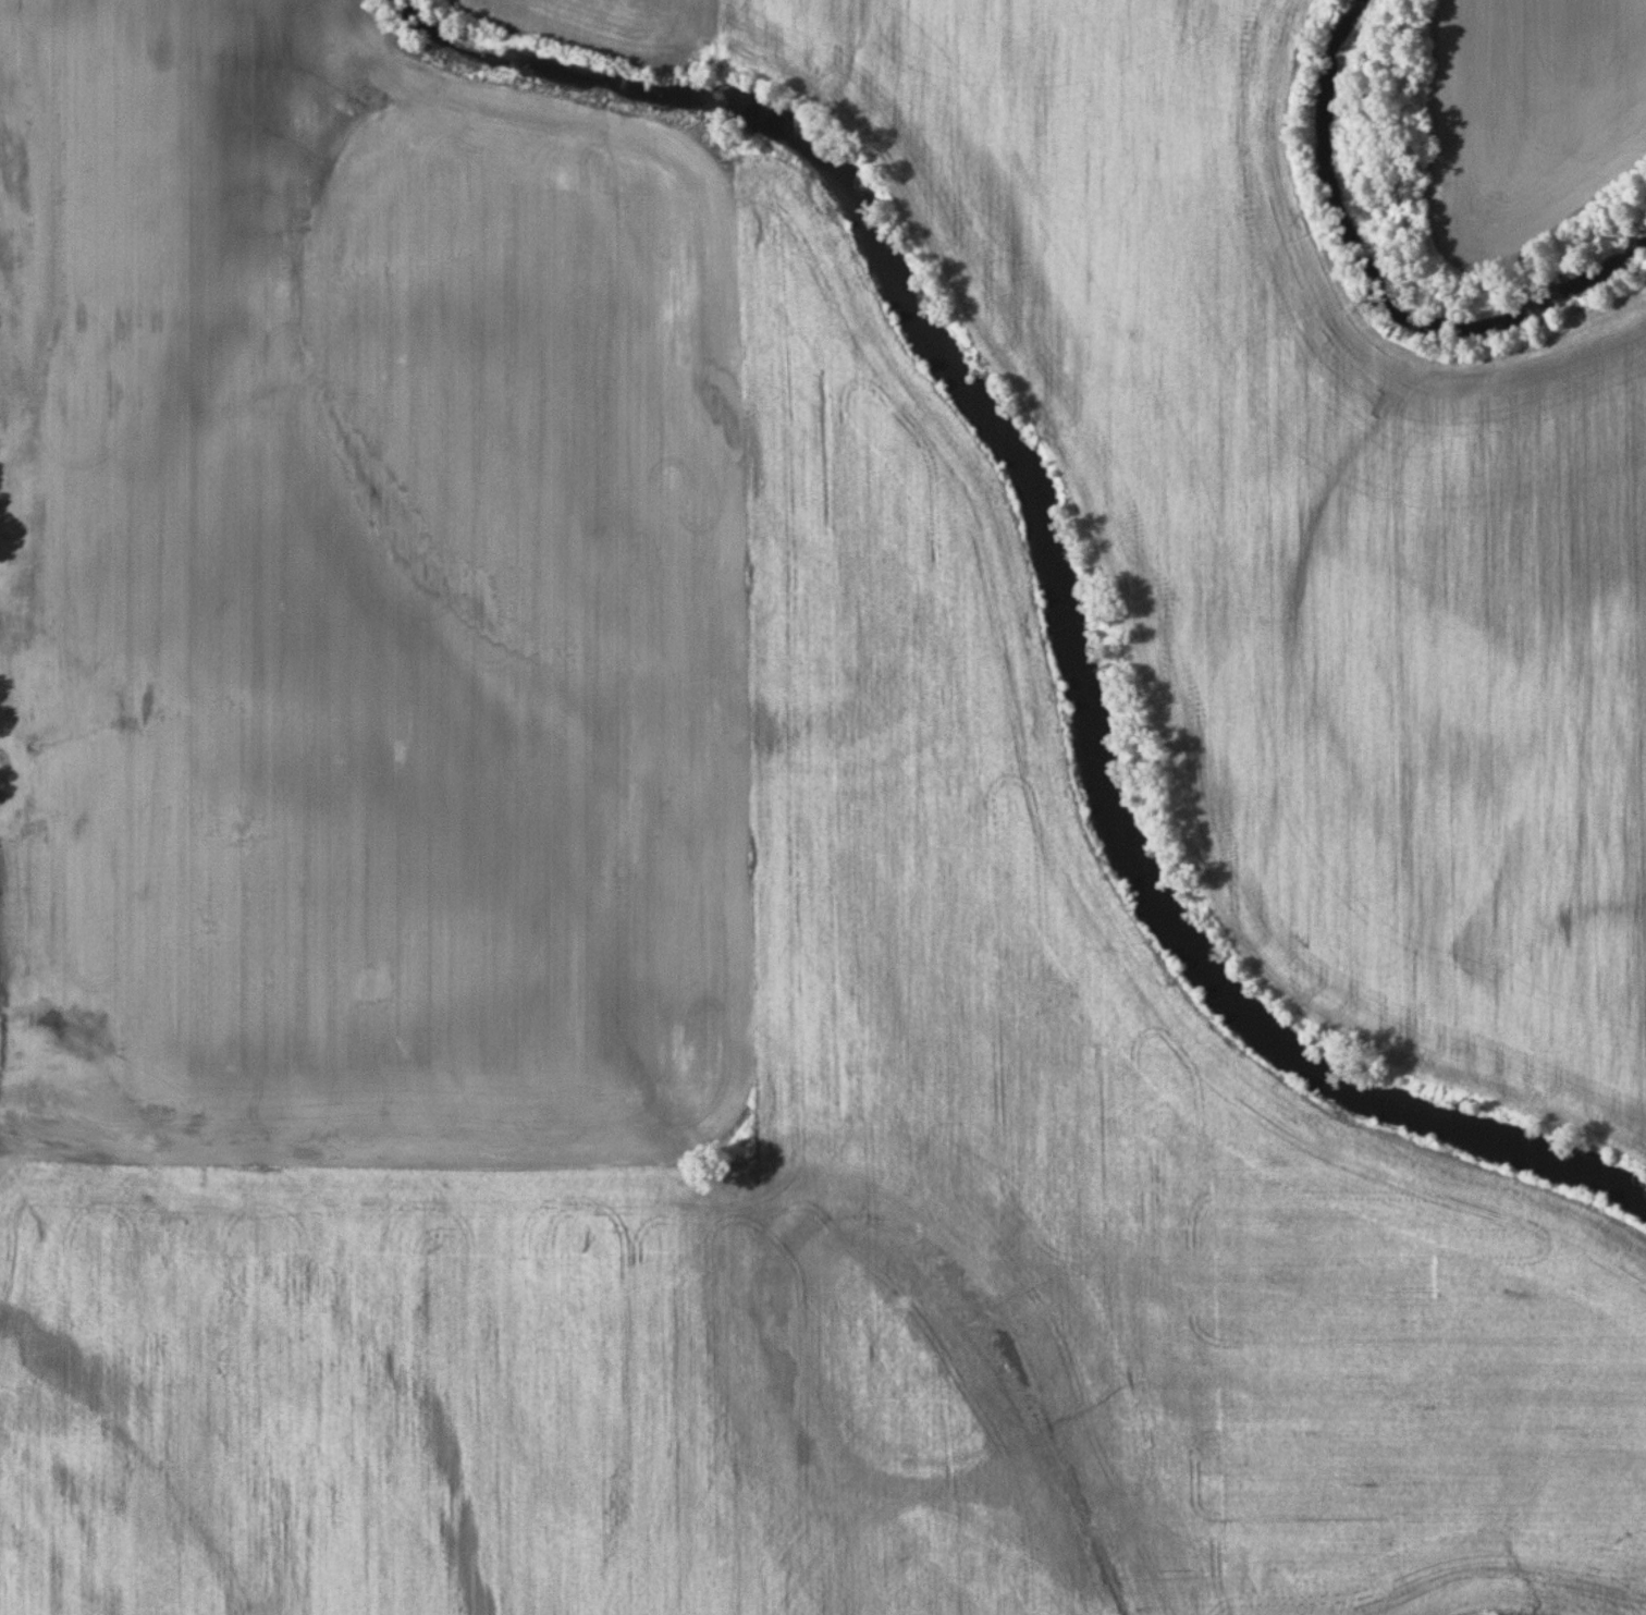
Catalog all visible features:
road: (376, 610)
road: (343, 1169)
road: (680, 1395)

